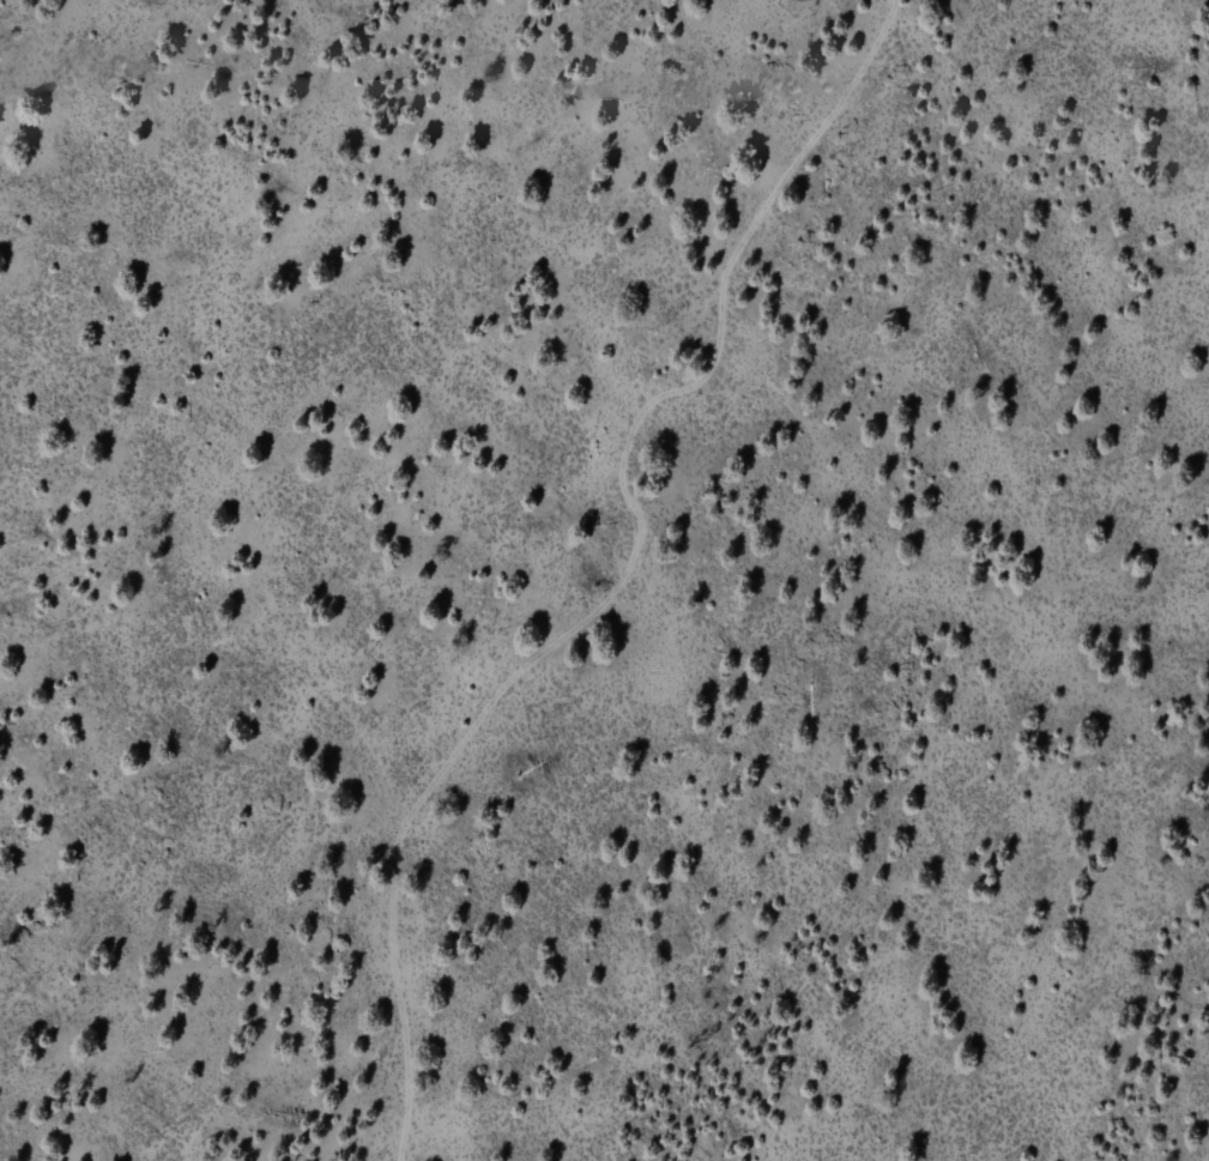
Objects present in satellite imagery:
road: (610, 580)

